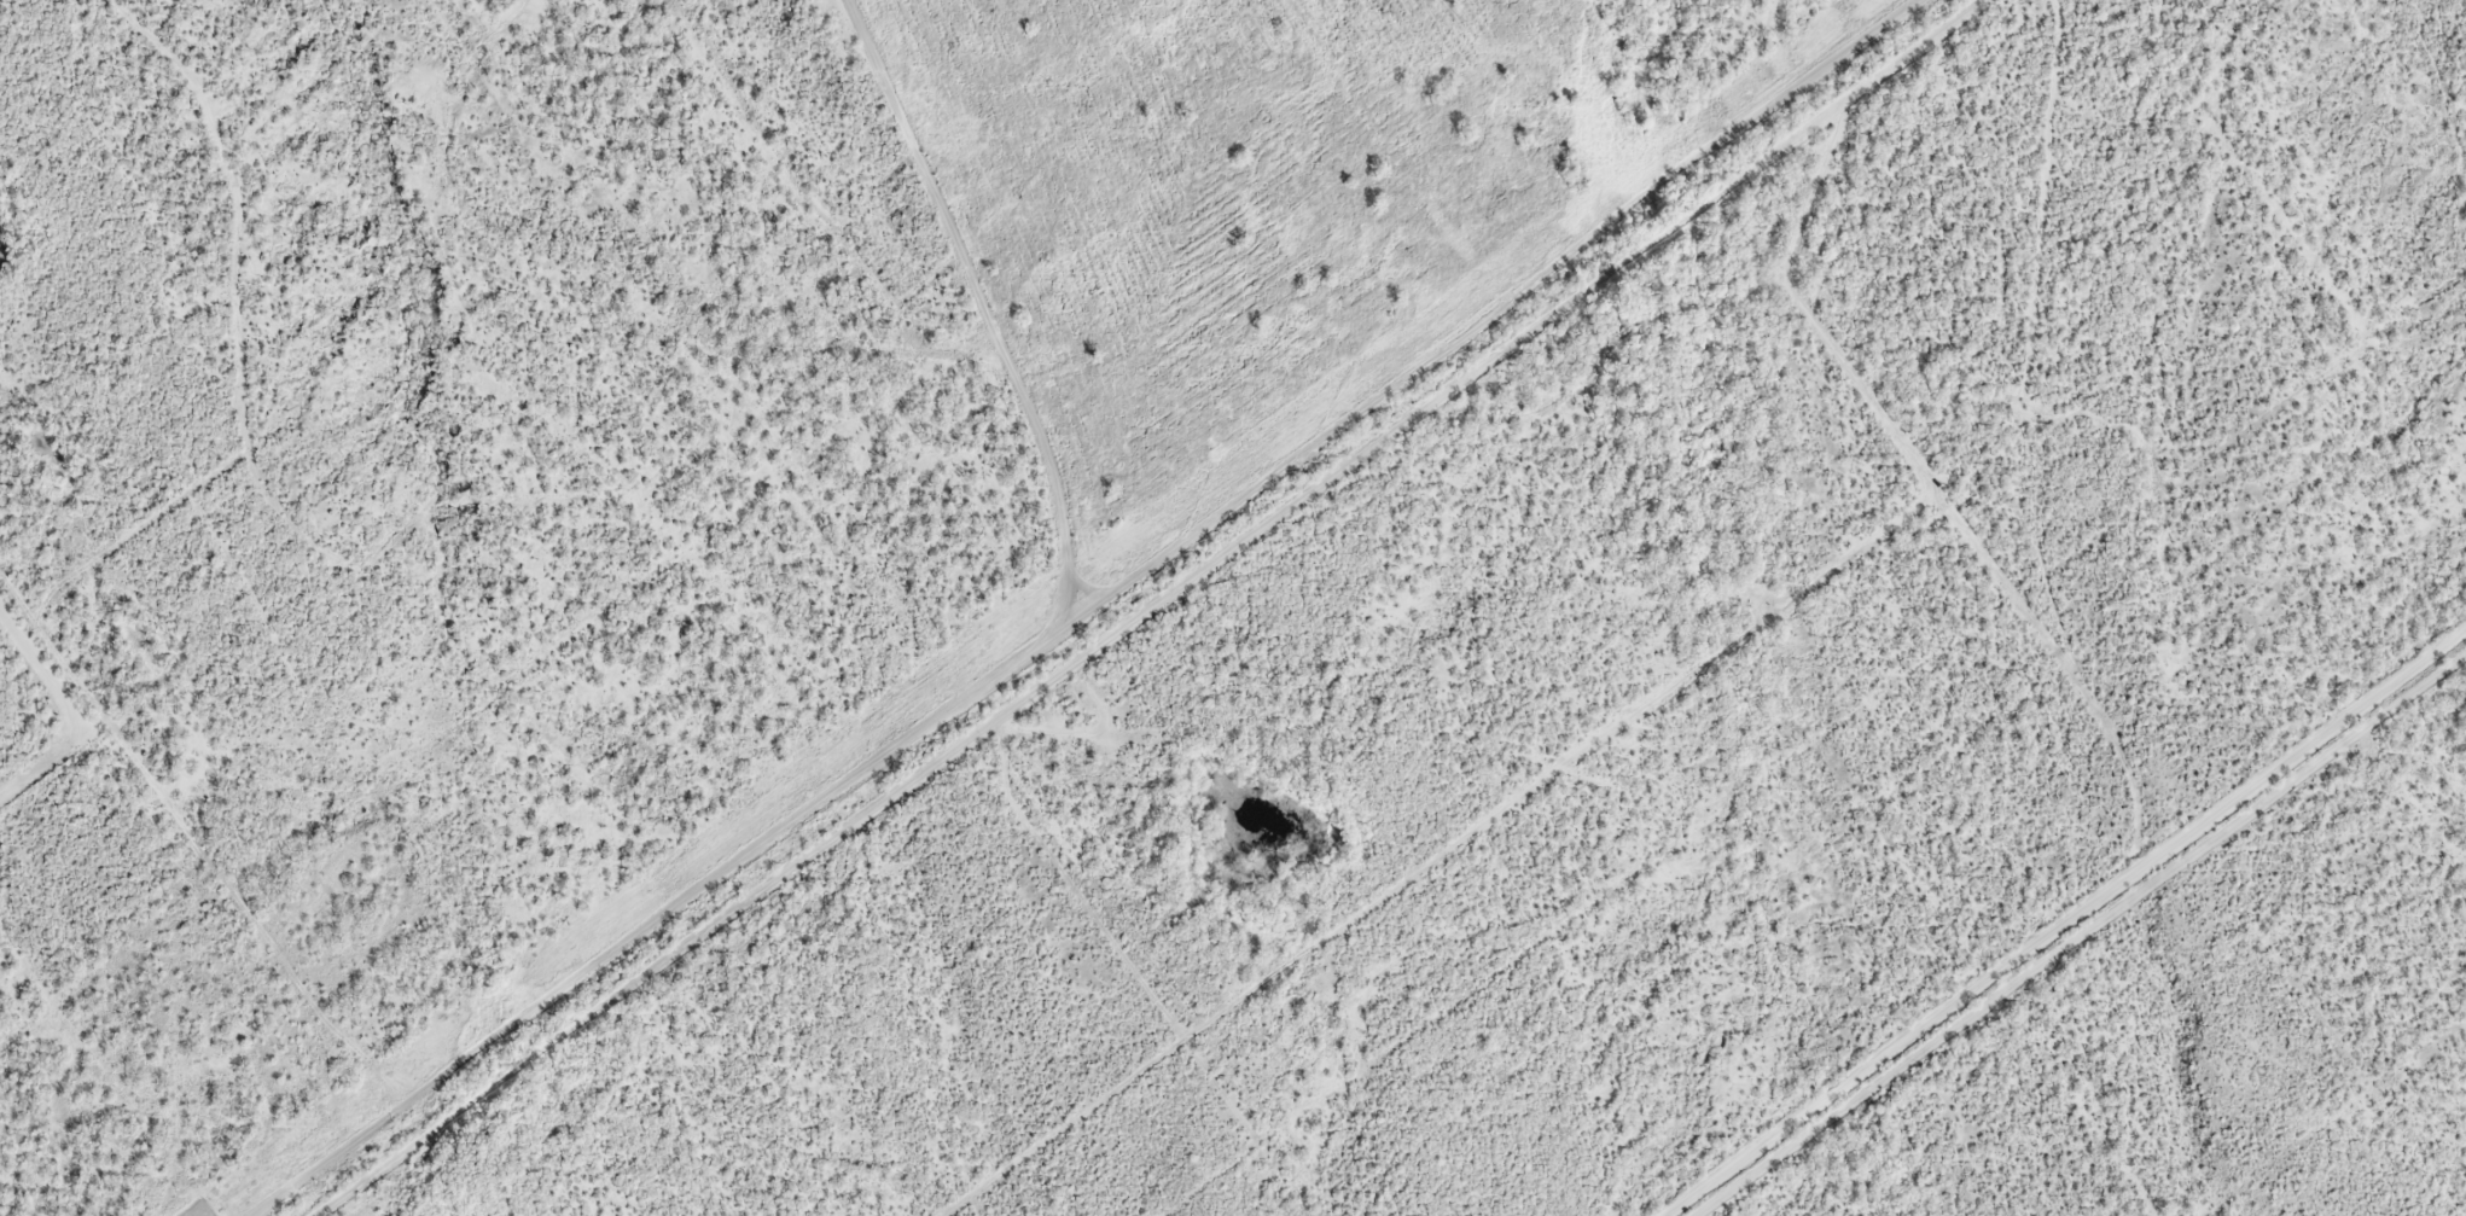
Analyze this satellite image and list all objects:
road: (1217, 604)
road: (1043, 607)

